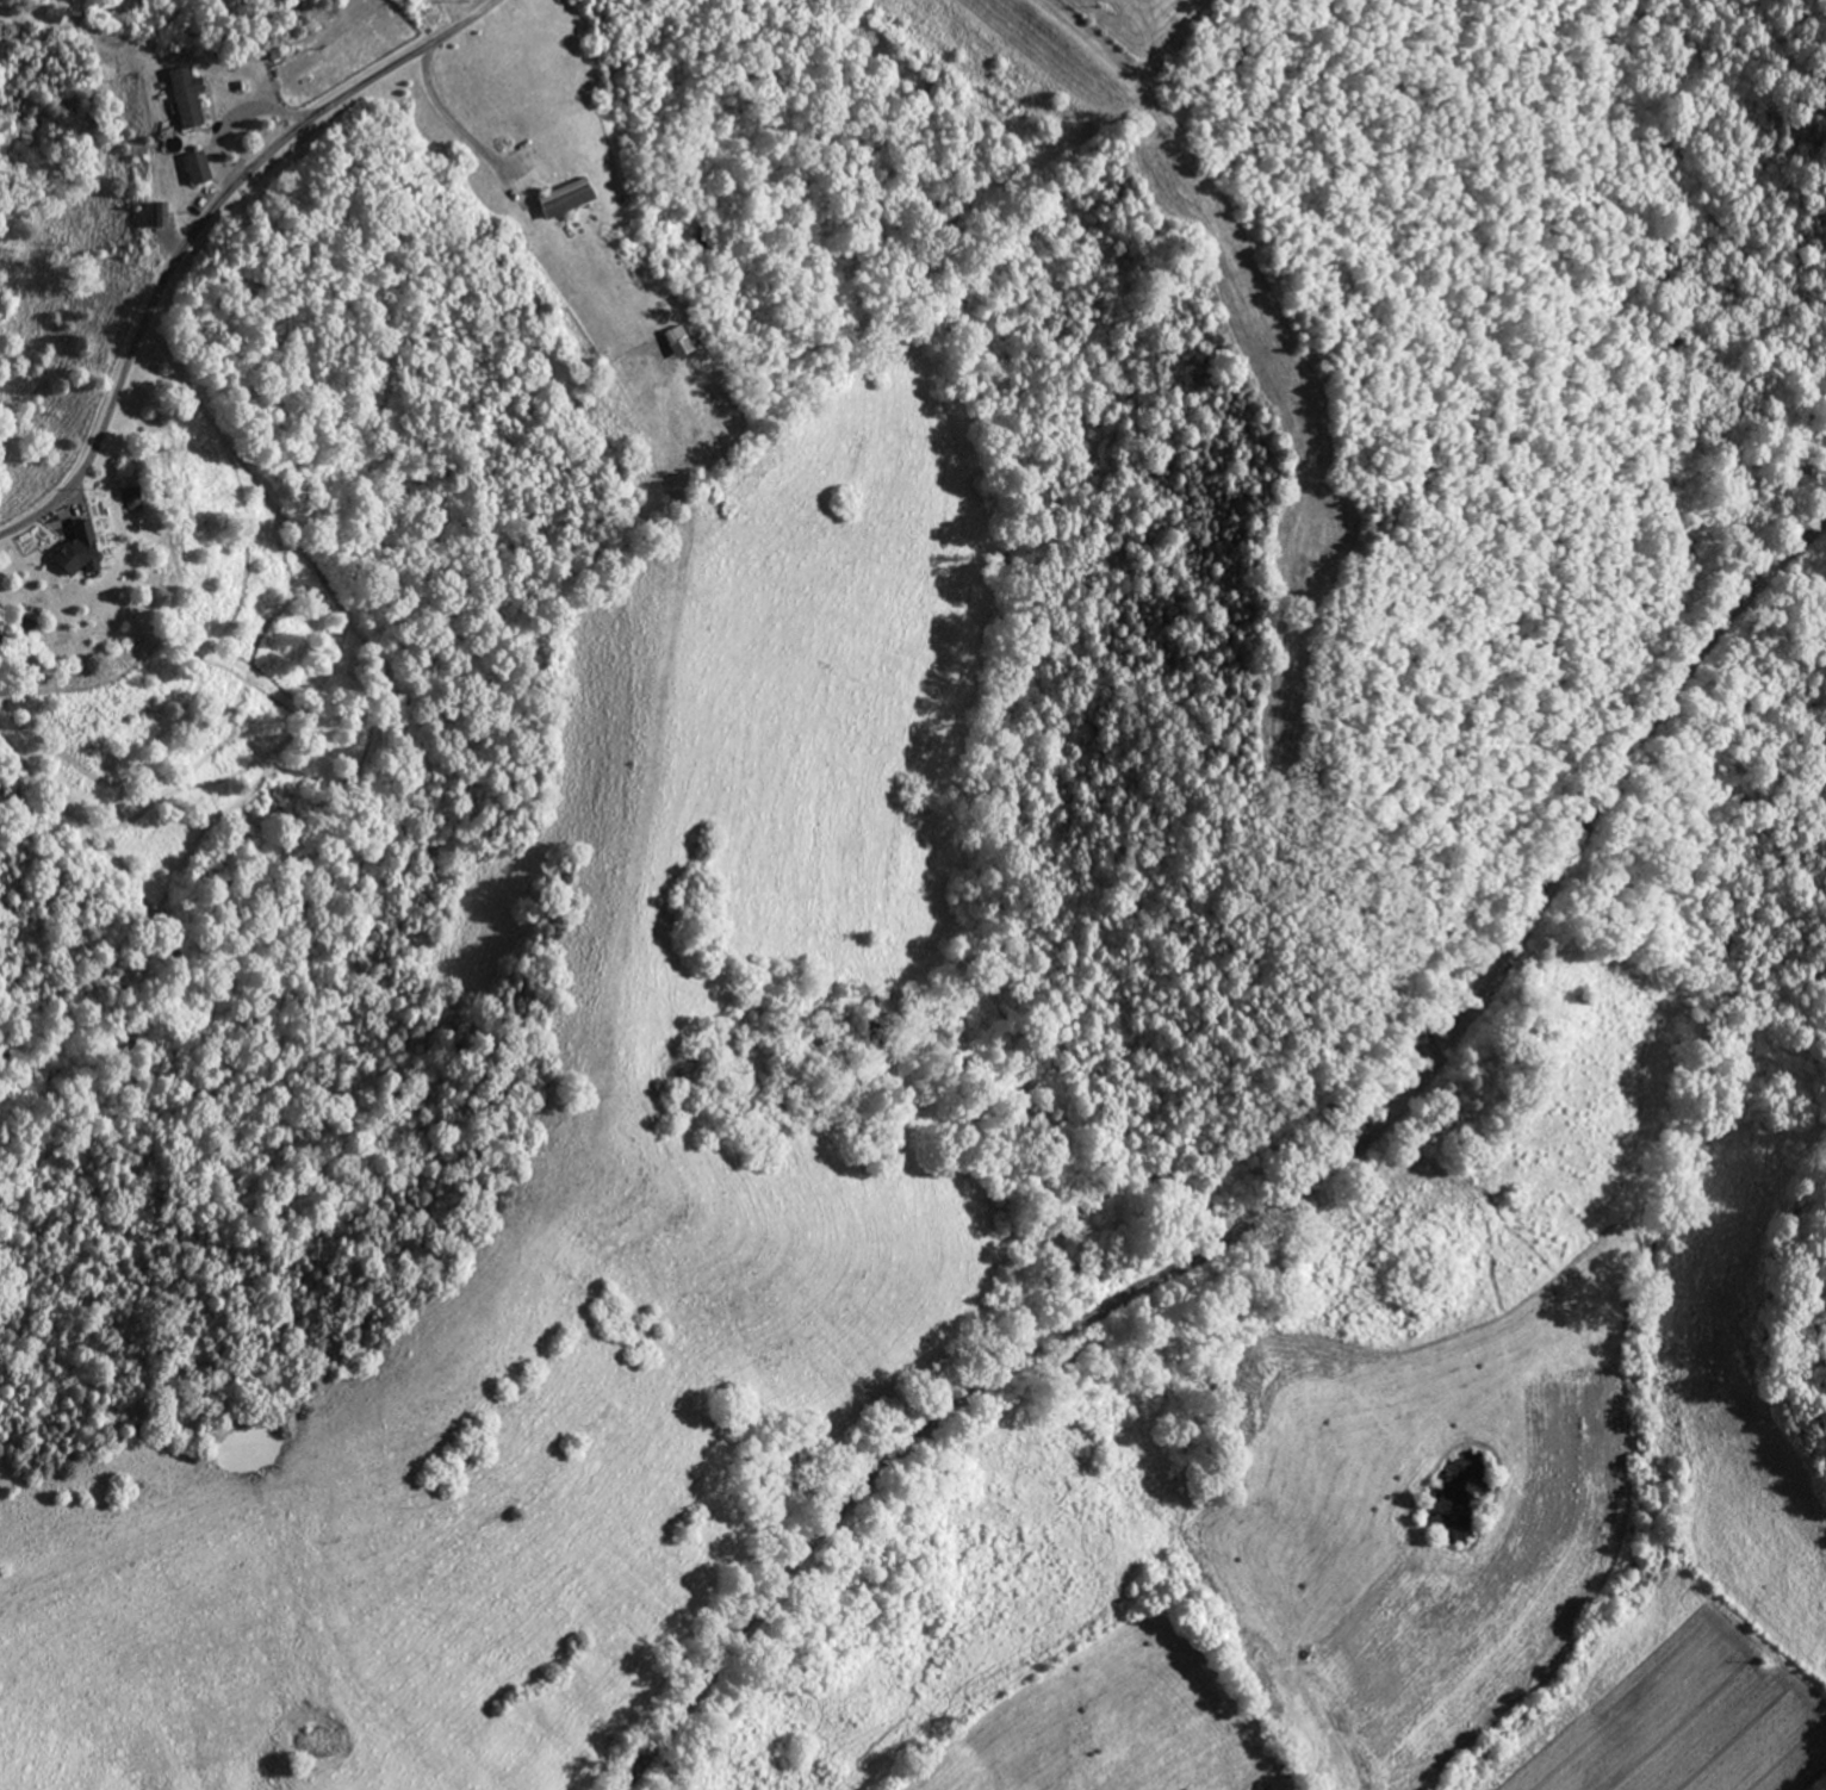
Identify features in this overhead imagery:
building: (52, 17)
building: (186, 95)
building: (198, 168)
building: (563, 197)
road: (195, 229)
building: (80, 555)
railway: (1274, 1201)

